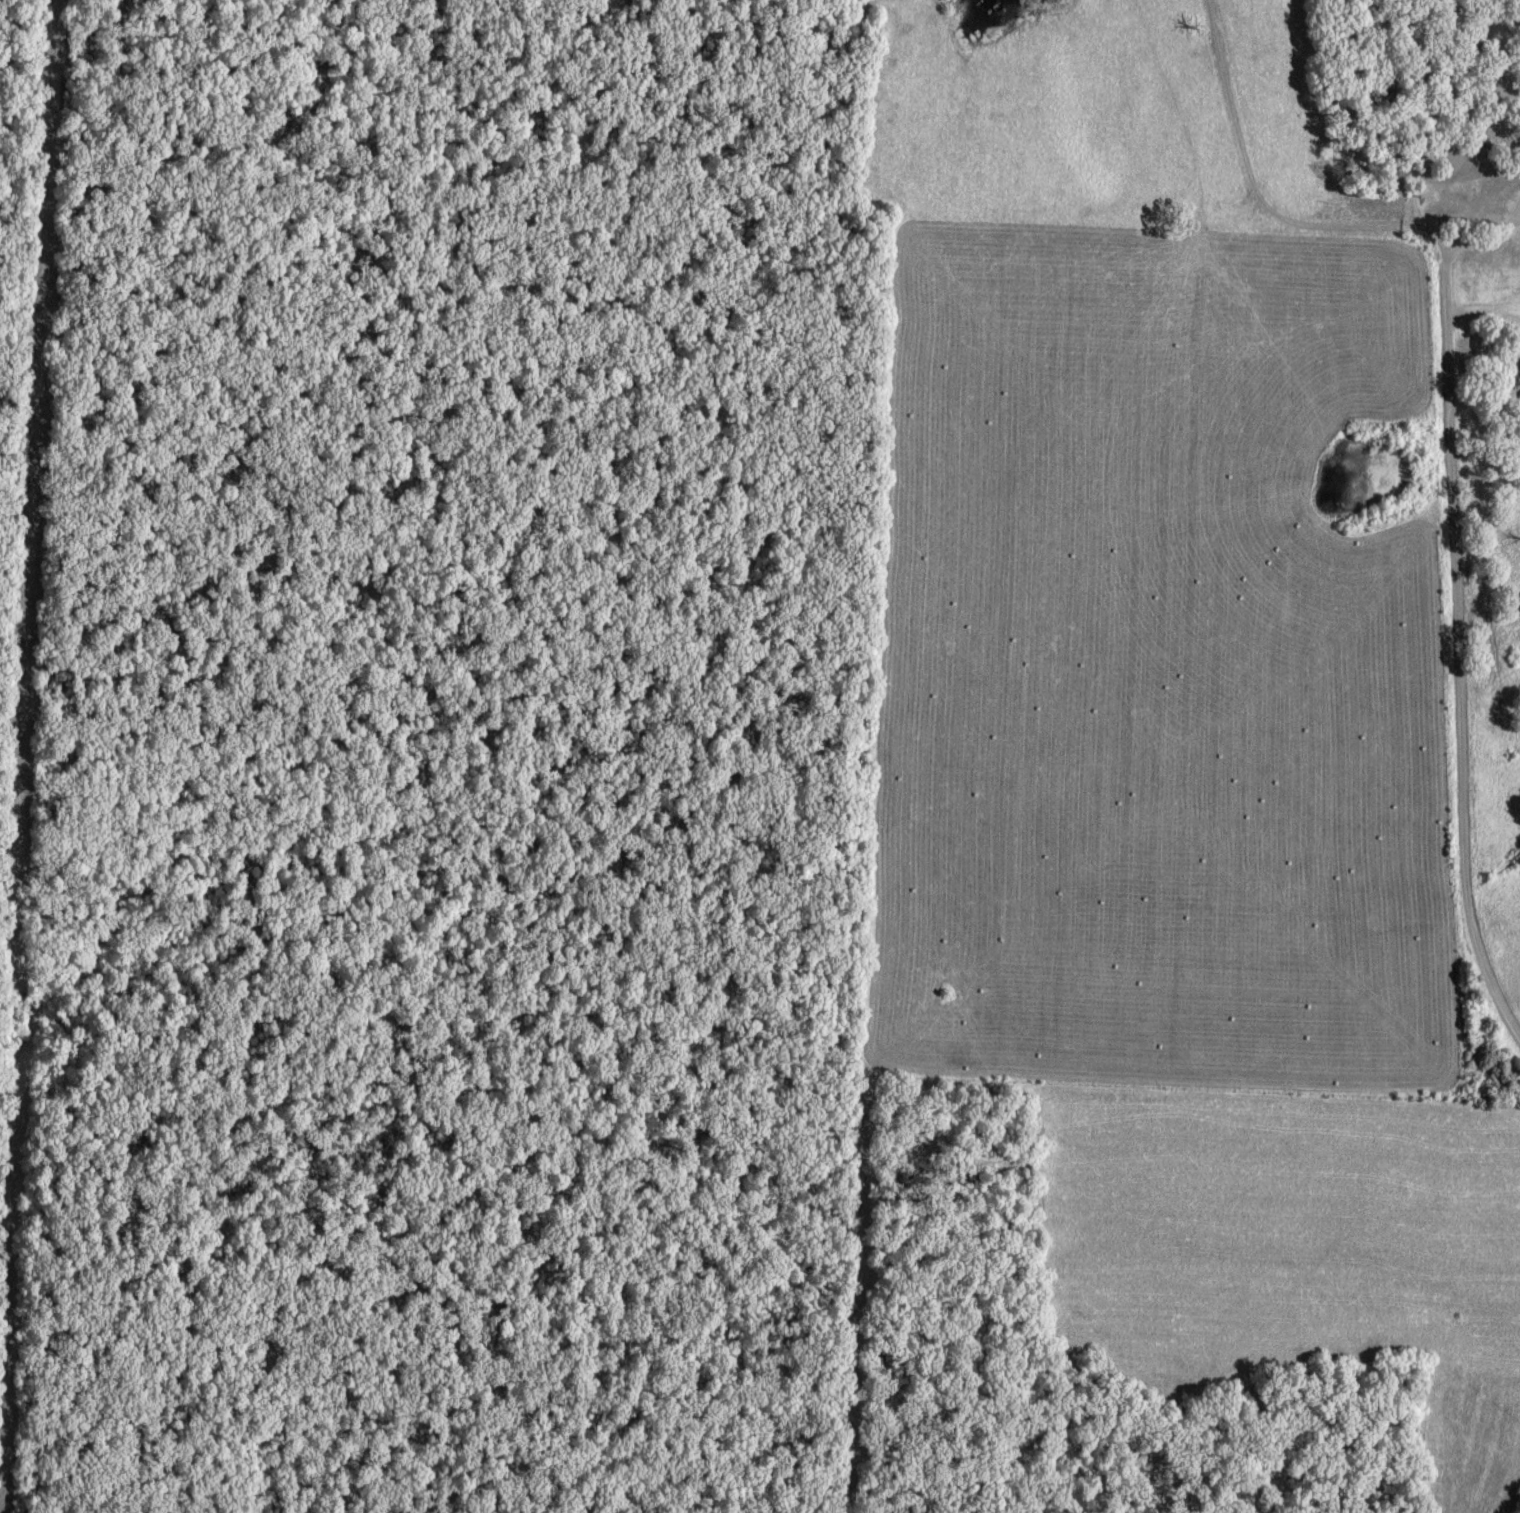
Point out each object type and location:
road: (1290, 219)
road: (1482, 308)
road: (1452, 510)

